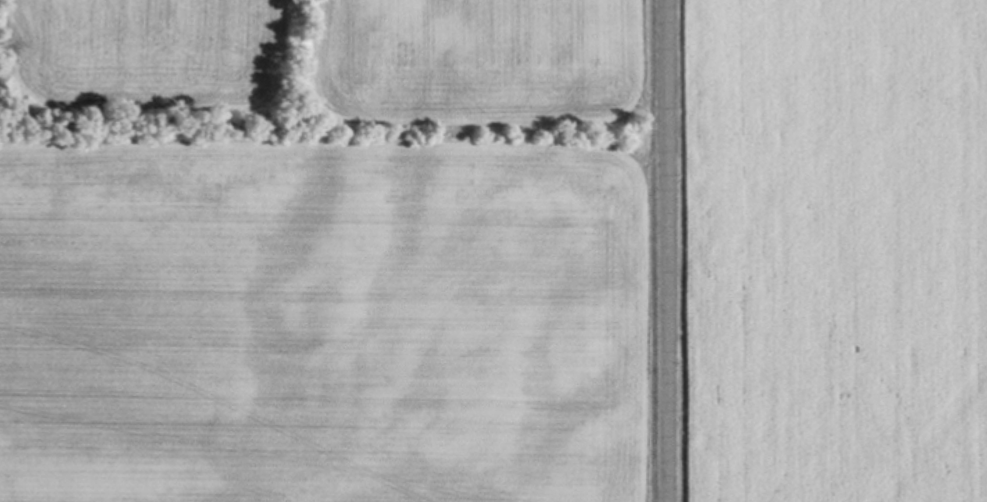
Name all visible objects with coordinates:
road: (667, 251)

